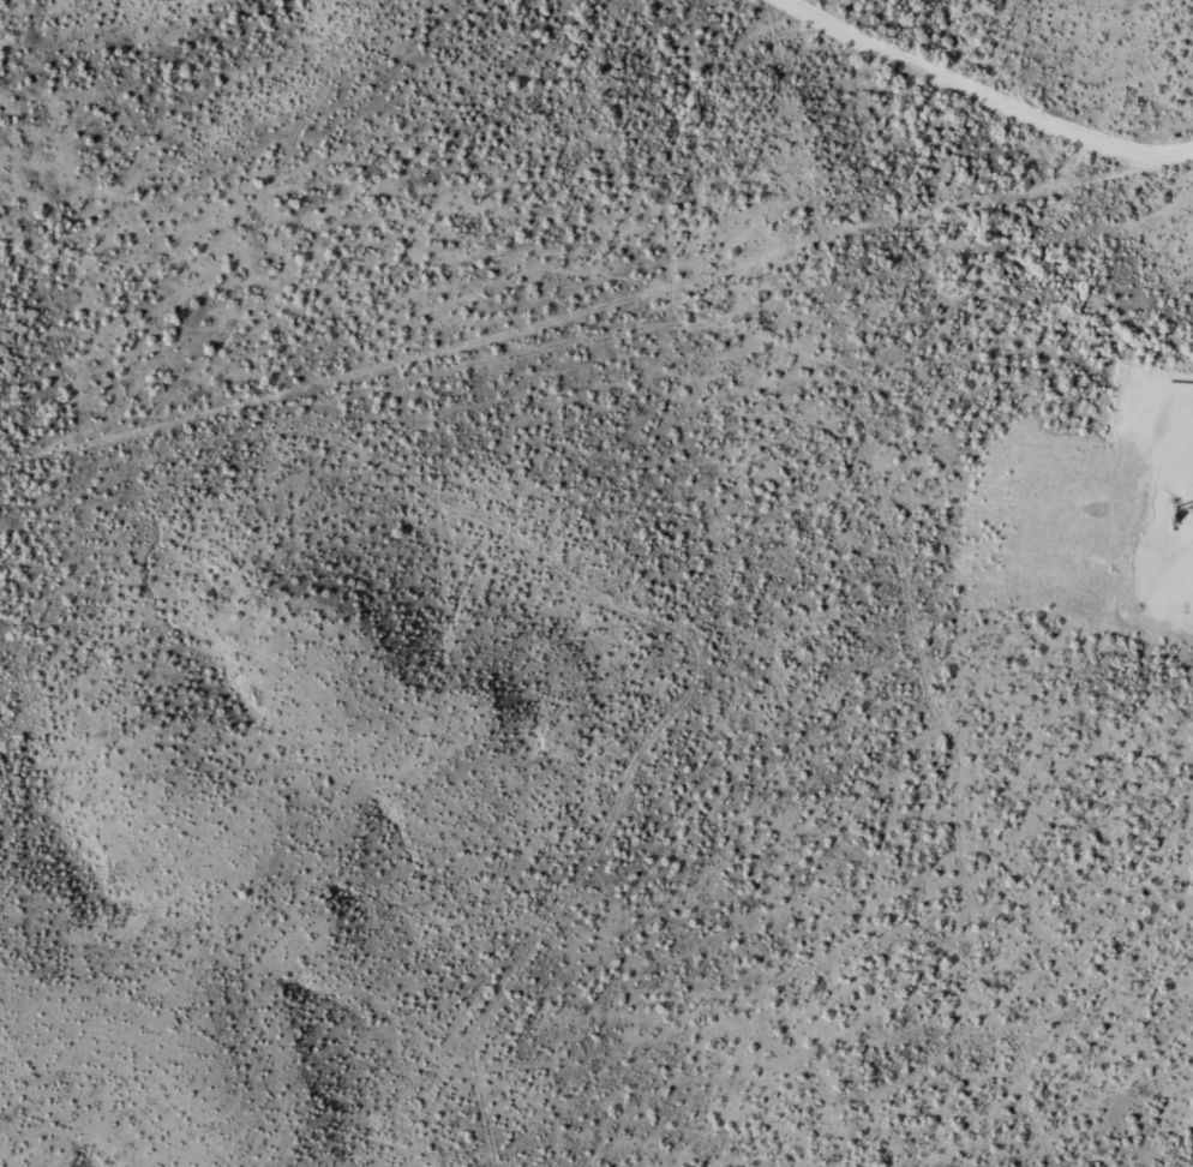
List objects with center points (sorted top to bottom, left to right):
road: (969, 104)

